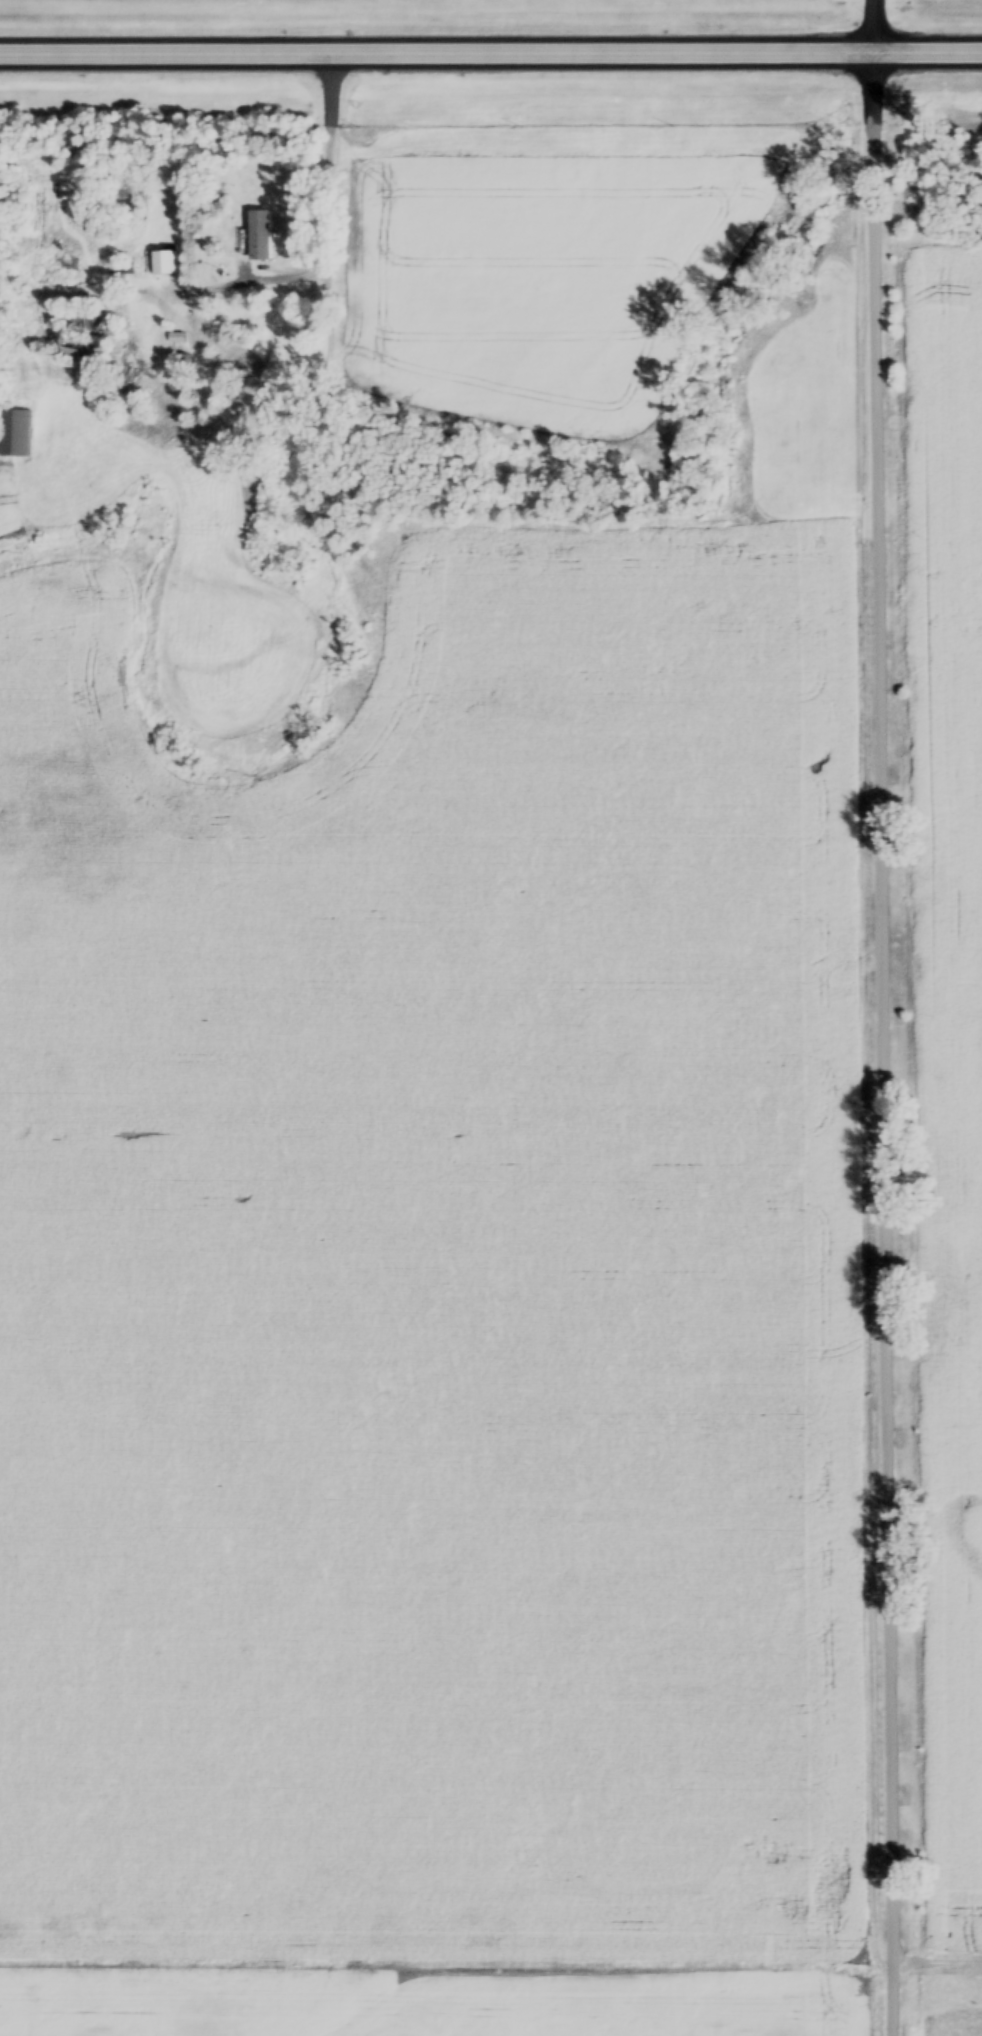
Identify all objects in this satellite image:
road: (490, 47)
road: (331, 185)
building: (260, 235)
building: (166, 262)
building: (15, 434)
road: (883, 1018)
road: (937, 1957)

